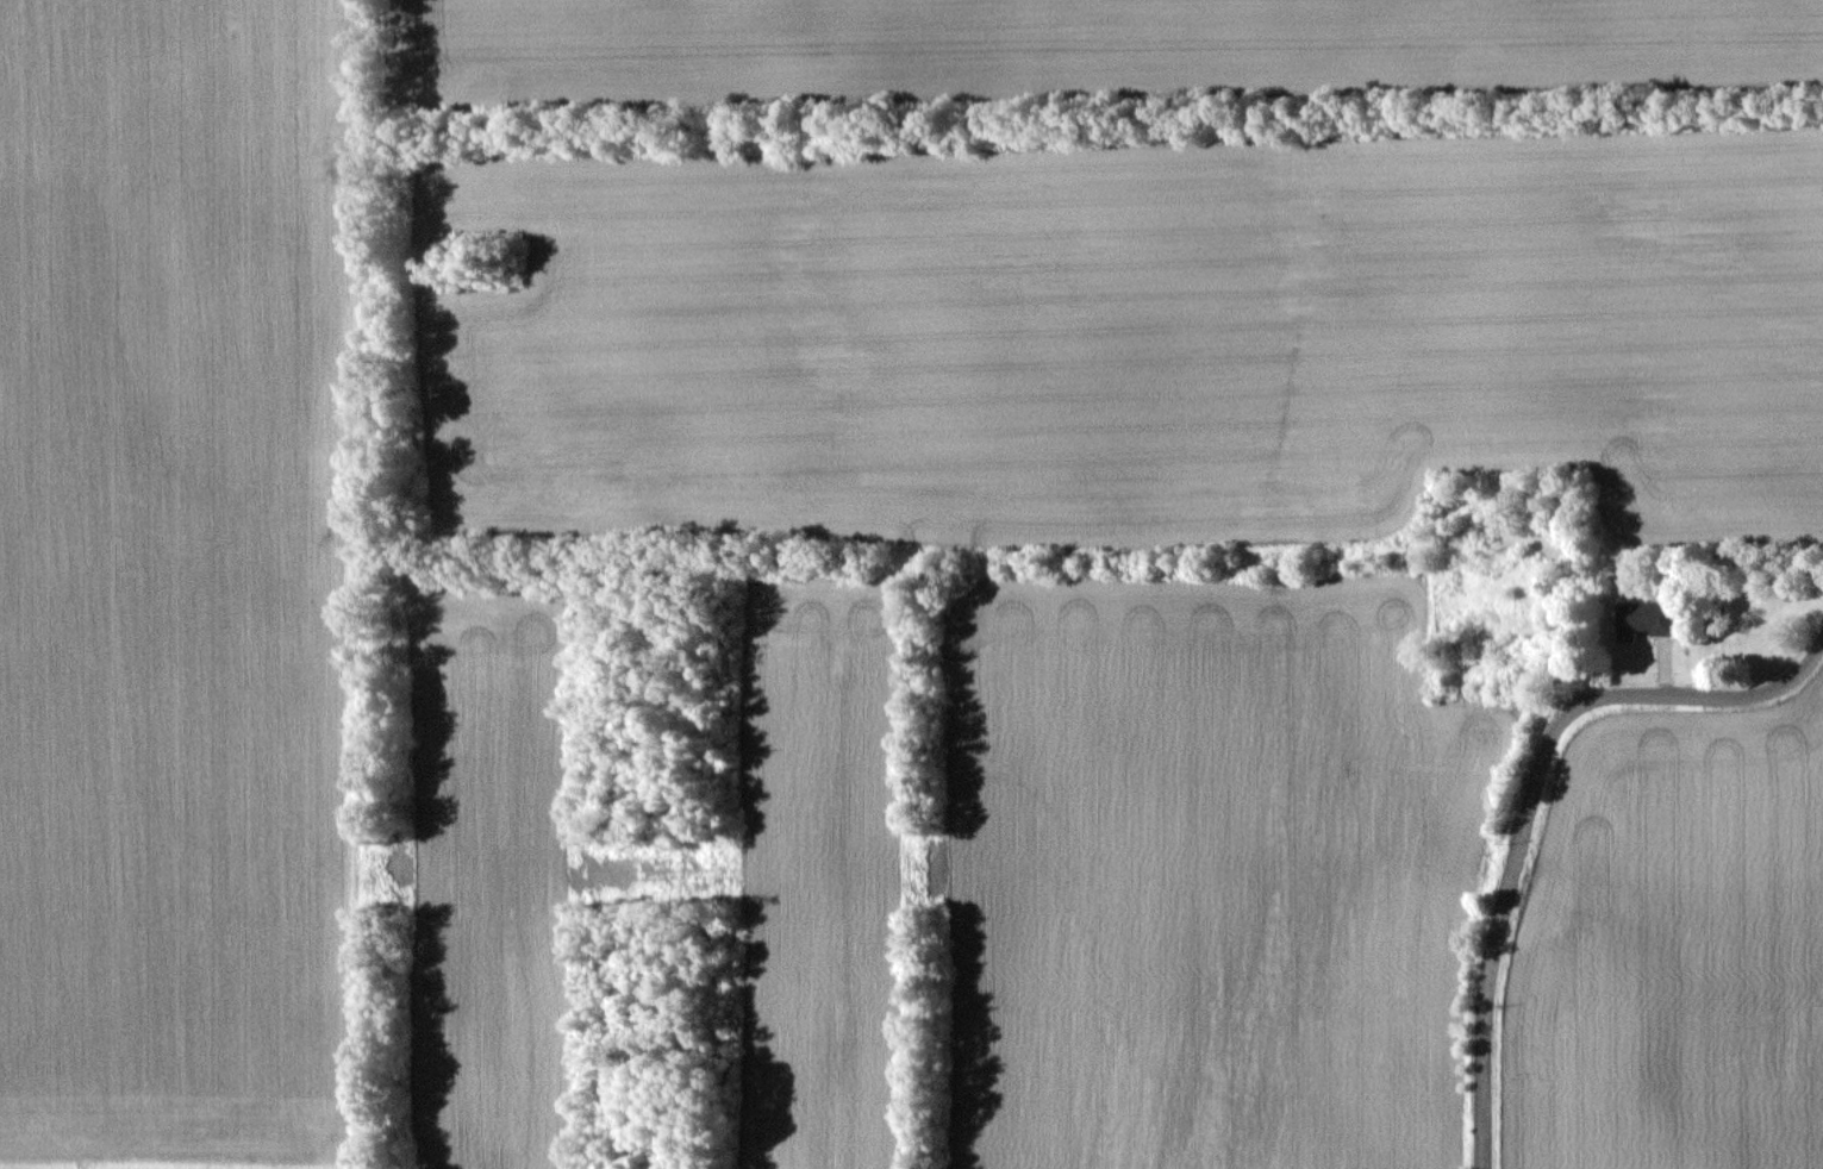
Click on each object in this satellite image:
building: (1644, 618)
road: (1532, 798)

